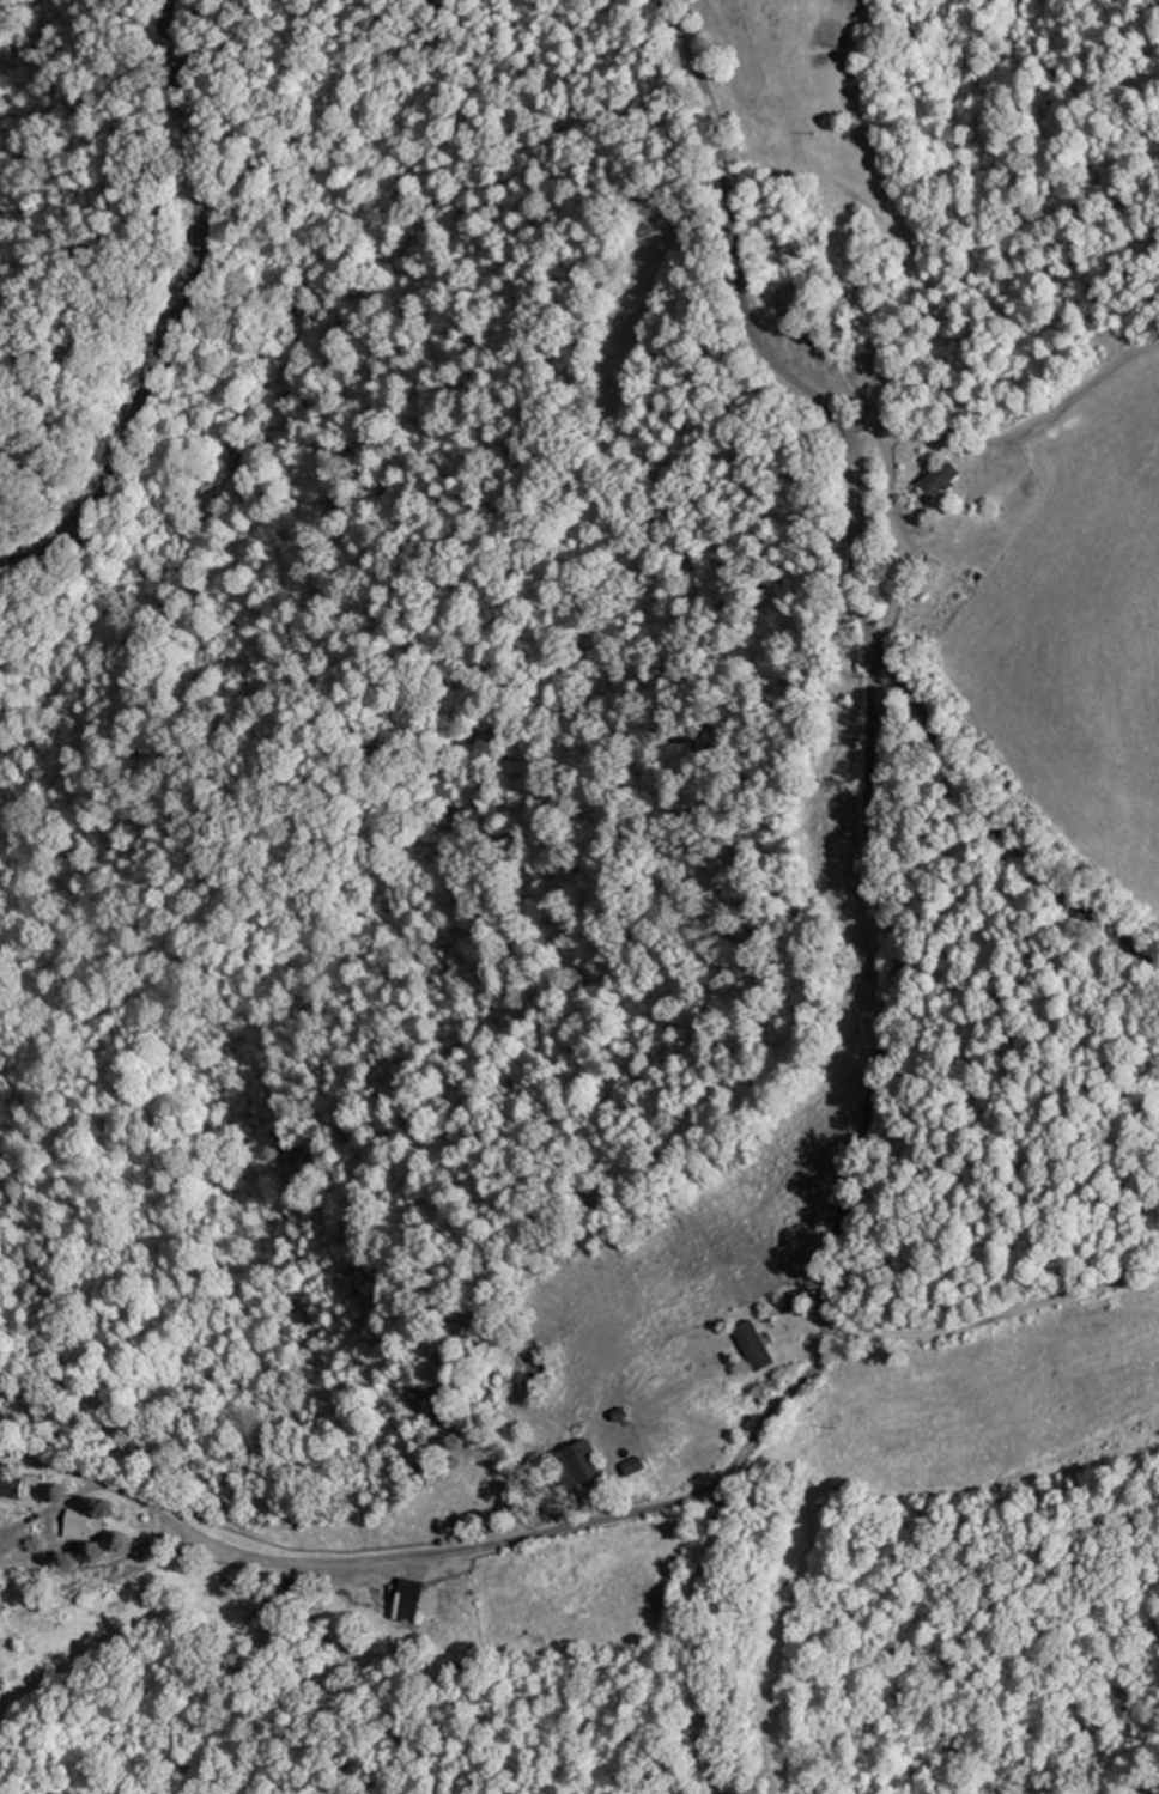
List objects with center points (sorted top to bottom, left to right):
road: (182, 322)
road: (758, 332)
road: (1013, 430)
building: (943, 476)
road: (991, 823)
road: (994, 1319)
building: (760, 1346)
road: (803, 1378)
building: (588, 1462)
road: (63, 1465)
building: (642, 1465)
building: (17, 1488)
building: (92, 1526)
building: (298, 1589)
building: (403, 1595)
road: (693, 1636)

